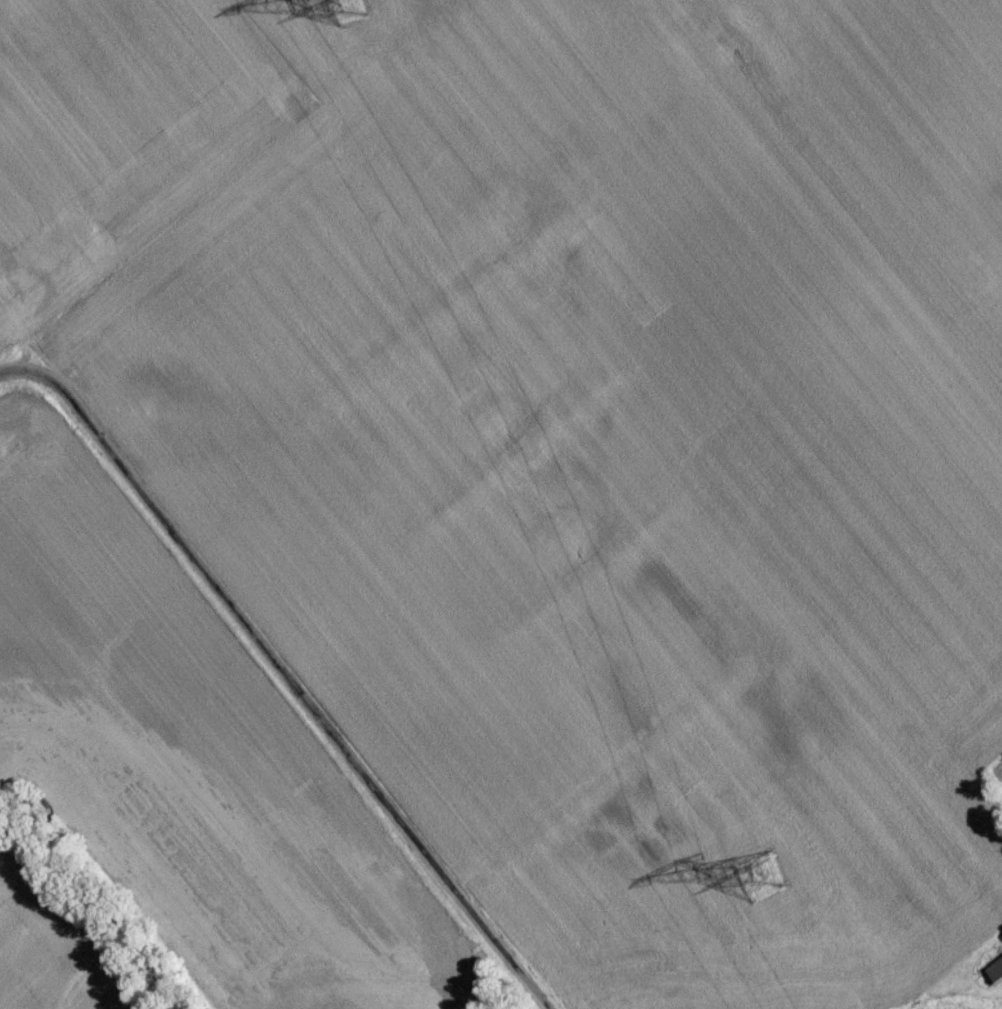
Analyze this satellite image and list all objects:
power tower: (348, 12)
road: (14, 378)
road: (293, 687)
power tower: (759, 883)
building: (997, 975)

